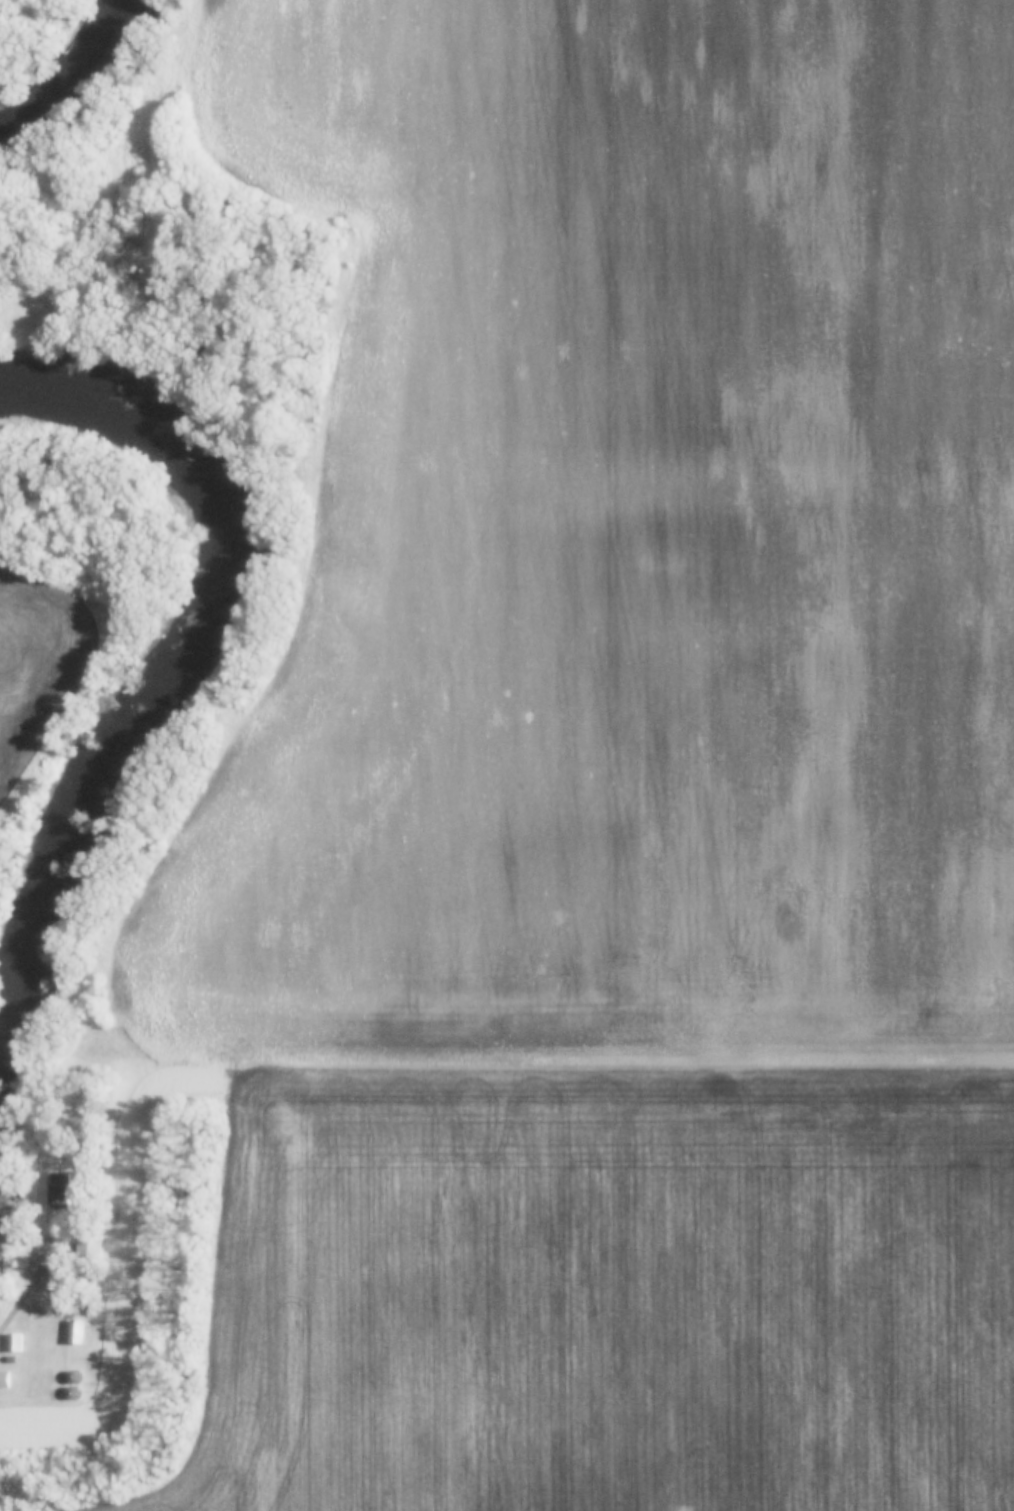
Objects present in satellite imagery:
river: (50, 45)
river: (169, 685)
building: (58, 1190)
building: (88, 1246)
road: (34, 1288)
building: (76, 1332)
building: (15, 1343)
building: (4, 1379)
building: (73, 1384)

